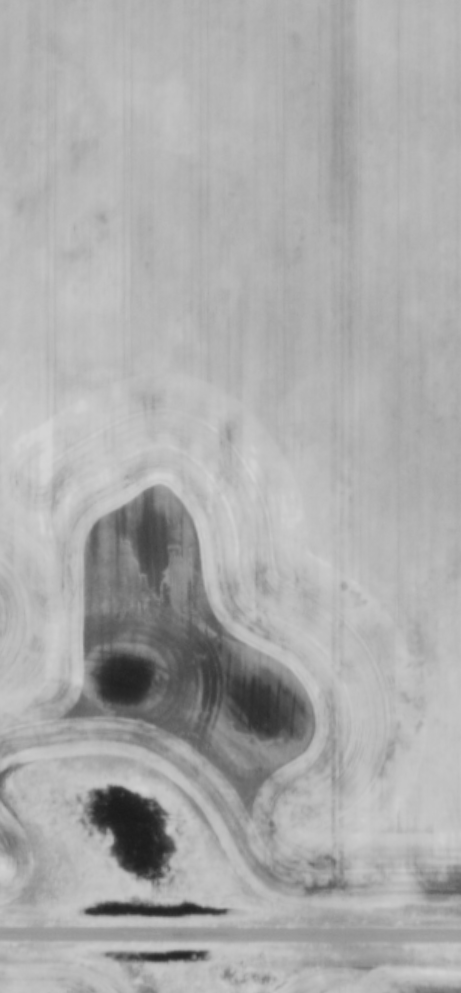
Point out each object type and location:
road: (230, 929)

